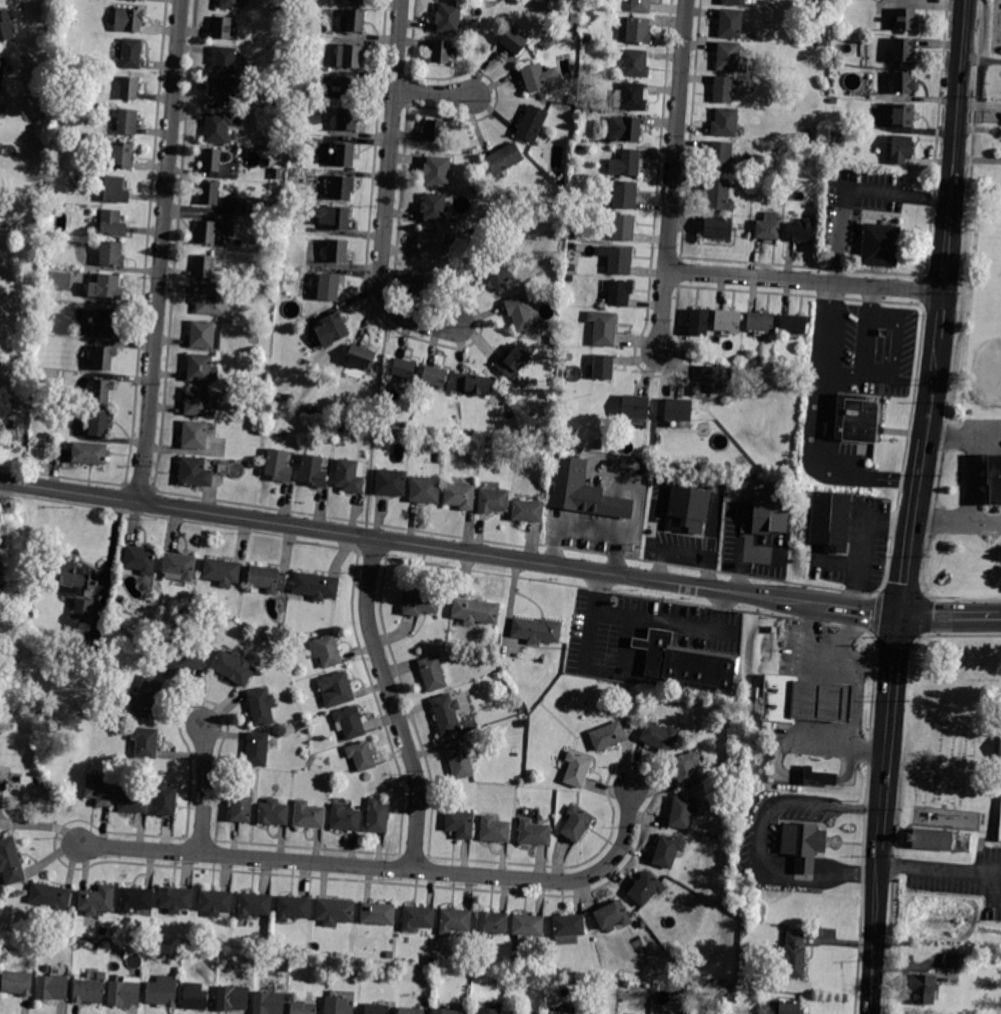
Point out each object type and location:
building: (142, 0)
building: (350, 0)
building: (362, 0)
building: (733, 2)
building: (230, 4)
building: (641, 6)
building: (283, 9)
building: (449, 18)
building: (908, 19)
building: (134, 20)
building: (356, 21)
building: (732, 24)
building: (5, 26)
building: (576, 26)
building: (222, 27)
building: (636, 31)
building: (587, 35)
building: (285, 39)
building: (514, 42)
building: (824, 42)
building: (905, 50)
building: (441, 52)
building: (132, 54)
building: (350, 56)
building: (729, 56)
building: (224, 60)
building: (636, 63)
building: (2, 69)
building: (538, 77)
building: (832, 82)
building: (904, 83)
building: (344, 87)
building: (130, 88)
building: (723, 89)
building: (222, 92)
road: (434, 93)
building: (631, 97)
building: (834, 101)
building: (327, 115)
building: (903, 116)
building: (348, 119)
building: (127, 122)
building: (725, 123)
building: (532, 124)
building: (221, 126)
building: (625, 128)
building: (435, 130)
road: (934, 137)
building: (314, 142)
road: (954, 146)
building: (901, 149)
building: (123, 155)
building: (345, 155)
building: (720, 157)
building: (505, 158)
building: (212, 160)
building: (627, 163)
building: (437, 171)
road: (673, 176)
building: (343, 187)
building: (116, 190)
road: (386, 191)
building: (210, 193)
building: (624, 195)
building: (719, 195)
building: (578, 203)
building: (257, 206)
building: (434, 207)
building: (332, 216)
building: (112, 223)
building: (622, 226)
building: (768, 227)
building: (718, 228)
building: (800, 230)
building: (207, 233)
building: (574, 235)
building: (431, 243)
building: (881, 245)
road: (161, 251)
building: (338, 251)
building: (111, 254)
park: (995, 256)
building: (618, 259)
building: (204, 266)
building: (571, 268)
building: (466, 270)
building: (496, 271)
building: (61, 281)
road: (804, 281)
building: (106, 286)
building: (423, 286)
building: (327, 288)
road: (923, 289)
building: (620, 293)
road: (958, 295)
building: (211, 300)
road: (937, 305)
road: (955, 307)
building: (521, 312)
road: (940, 313)
building: (106, 321)
building: (728, 321)
building: (760, 322)
building: (699, 323)
building: (793, 324)
building: (604, 328)
road: (865, 329)
building: (332, 330)
building: (205, 335)
road: (885, 344)
road: (892, 345)
park: (991, 349)
building: (747, 355)
building: (361, 356)
building: (105, 358)
building: (513, 361)
building: (604, 367)
building: (202, 368)
building: (404, 368)
road: (841, 370)
building: (435, 376)
building: (712, 379)
building: (263, 380)
building: (474, 384)
road: (933, 384)
building: (103, 390)
building: (263, 394)
building: (197, 402)
building: (37, 406)
building: (636, 407)
road: (815, 408)
building: (678, 409)
road: (829, 420)
building: (855, 420)
building: (100, 422)
building: (341, 428)
building: (195, 434)
building: (465, 434)
road: (987, 436)
road: (951, 437)
road: (903, 447)
building: (89, 453)
building: (439, 458)
building: (473, 459)
building: (253, 464)
building: (279, 465)
building: (313, 471)
building: (195, 472)
building: (350, 476)
road: (896, 478)
building: (993, 478)
road: (974, 480)
building: (391, 482)
building: (721, 484)
building: (426, 489)
building: (583, 492)
road: (2, 493)
building: (460, 496)
building: (494, 501)
building: (528, 510)
building: (687, 510)
building: (771, 511)
building: (831, 518)
road: (943, 520)
road: (987, 521)
road: (913, 524)
road: (590, 528)
road: (413, 542)
road: (111, 549)
building: (140, 559)
building: (180, 566)
building: (222, 572)
building: (72, 578)
building: (267, 578)
building: (316, 585)
road: (900, 589)
building: (248, 590)
road: (592, 591)
road: (958, 599)
building: (420, 601)
building: (84, 607)
road: (863, 609)
building: (475, 611)
road: (875, 612)
road: (925, 614)
traffic signals: (899, 615)
road: (950, 615)
road: (673, 623)
building: (2, 626)
building: (537, 630)
road: (847, 633)
road: (954, 634)
road: (893, 637)
road: (808, 640)
building: (326, 650)
road: (639, 654)
building: (96, 657)
road: (849, 660)
building: (184, 662)
building: (687, 662)
building: (234, 667)
road: (600, 667)
building: (433, 673)
building: (336, 689)
building: (146, 696)
building: (775, 696)
building: (817, 701)
gas station: (823, 701)
road: (828, 702)
road: (394, 703)
building: (261, 706)
building: (631, 707)
building: (446, 714)
building: (350, 722)
road: (887, 733)
building: (608, 736)
building: (659, 736)
building: (146, 742)
road: (845, 744)
building: (997, 746)
building: (257, 749)
building: (361, 755)
building: (460, 758)
building: (577, 768)
building: (686, 768)
building: (819, 777)
road: (990, 780)
building: (28, 782)
building: (100, 790)
road: (206, 790)
building: (133, 800)
building: (165, 800)
building: (242, 805)
building: (273, 812)
building: (682, 812)
building: (998, 814)
building: (309, 815)
building: (377, 816)
building: (344, 818)
road: (757, 818)
road: (991, 820)
building: (460, 822)
building: (576, 824)
road: (42, 825)
building: (495, 829)
road: (902, 829)
road: (980, 830)
building: (534, 833)
building: (940, 840)
building: (803, 845)
road: (995, 845)
building: (667, 851)
building: (11, 861)
road: (801, 862)
road: (939, 866)
road: (388, 868)
road: (858, 873)
building: (646, 889)
road: (988, 890)
building: (51, 897)
building: (136, 899)
building: (176, 899)
building: (97, 900)
building: (215, 902)
building: (254, 905)
building: (293, 908)
building: (335, 911)
building: (378, 913)
building: (612, 914)
building: (418, 918)
building: (455, 920)
building: (492, 923)
building: (528, 925)
building: (569, 925)
road: (871, 932)
building: (794, 956)
building: (951, 961)
building: (480, 963)
building: (513, 967)
building: (102, 976)
building: (18, 982)
building: (52, 987)
building: (922, 989)
building: (88, 991)
building: (162, 991)
building: (124, 993)
building: (195, 996)
building: (233, 998)
building: (269, 1003)
building: (339, 1006)
building: (788, 1007)
building: (303, 1008)
building: (376, 1009)
building: (411, 1010)
building: (446, 1011)
building: (489, 1011)
building: (553, 1013)

